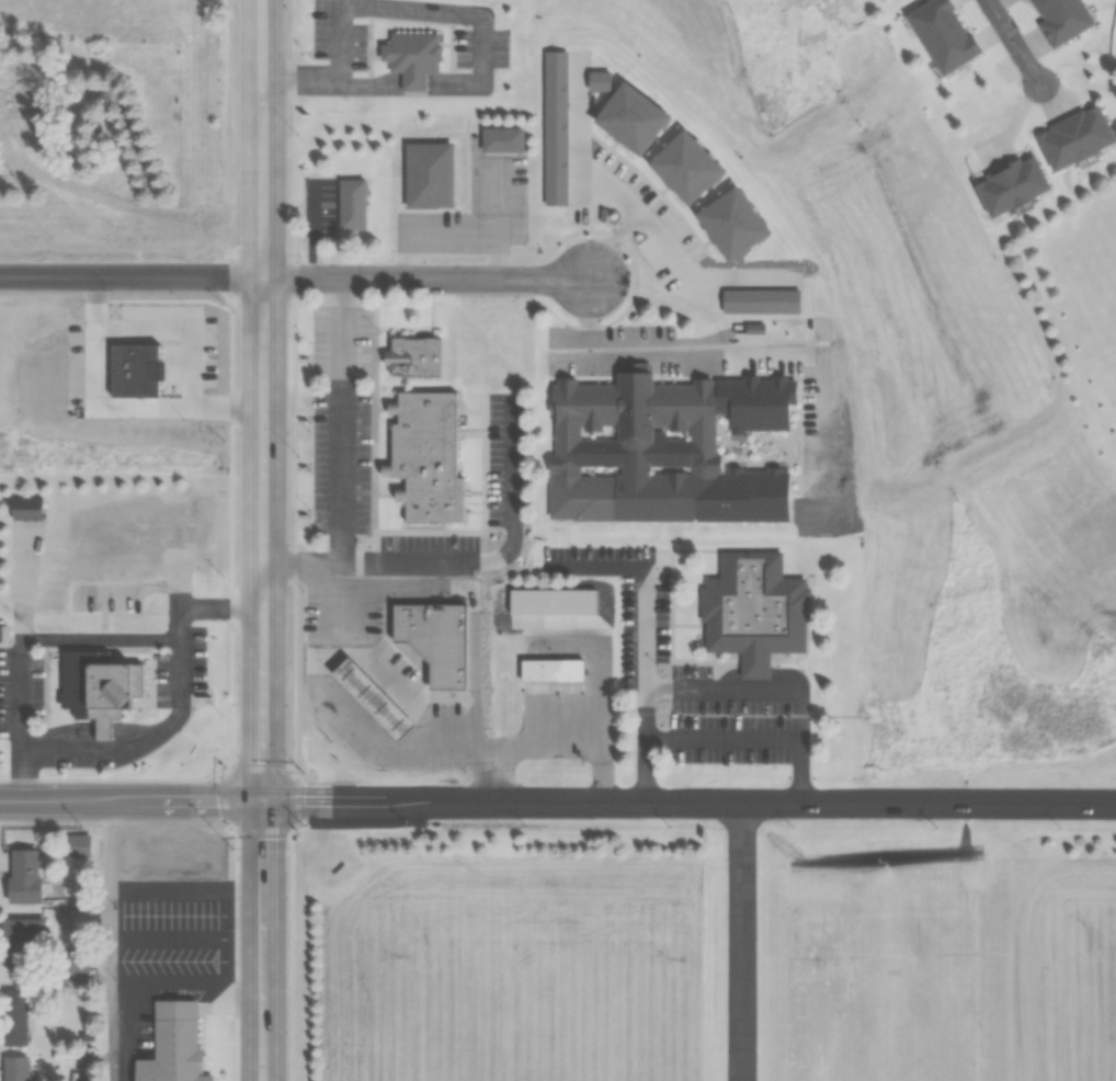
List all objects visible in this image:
building: (1059, 19)
building: (940, 34)
road: (1015, 41)
building: (409, 57)
building: (19, 112)
building: (1073, 137)
road: (262, 138)
building: (502, 141)
building: (430, 174)
road: (589, 180)
building: (1009, 185)
building: (351, 203)
road: (127, 204)
road: (305, 229)
road: (697, 274)
road: (116, 277)
road: (248, 277)
road: (422, 278)
park: (1075, 297)
road: (582, 317)
road: (668, 353)
building: (417, 356)
road: (334, 419)
building: (633, 451)
building: (429, 455)
road: (466, 559)
road: (646, 574)
street lamp: (303, 585)
street lamp: (289, 587)
road: (467, 600)
building: (752, 606)
building: (424, 638)
road: (36, 639)
building: (549, 671)
road: (263, 679)
building: (439, 684)
building: (93, 685)
road: (377, 685)
road: (782, 685)
building: (363, 706)
gas station: (363, 706)
road: (342, 721)
road: (164, 728)
road: (721, 735)
road: (645, 743)
road: (548, 744)
street lamp: (464, 769)
road: (117, 780)
road: (130, 801)
traffic signals: (263, 803)
road: (688, 804)
street lamp: (670, 822)
street lamp: (410, 824)
street lamp: (936, 824)
building: (77, 845)
building: (20, 876)
building: (20, 940)
road: (109, 941)
road: (739, 942)
building: (73, 955)
street lamp: (291, 957)
building: (12, 1016)
building: (171, 1044)
building: (13, 1068)

